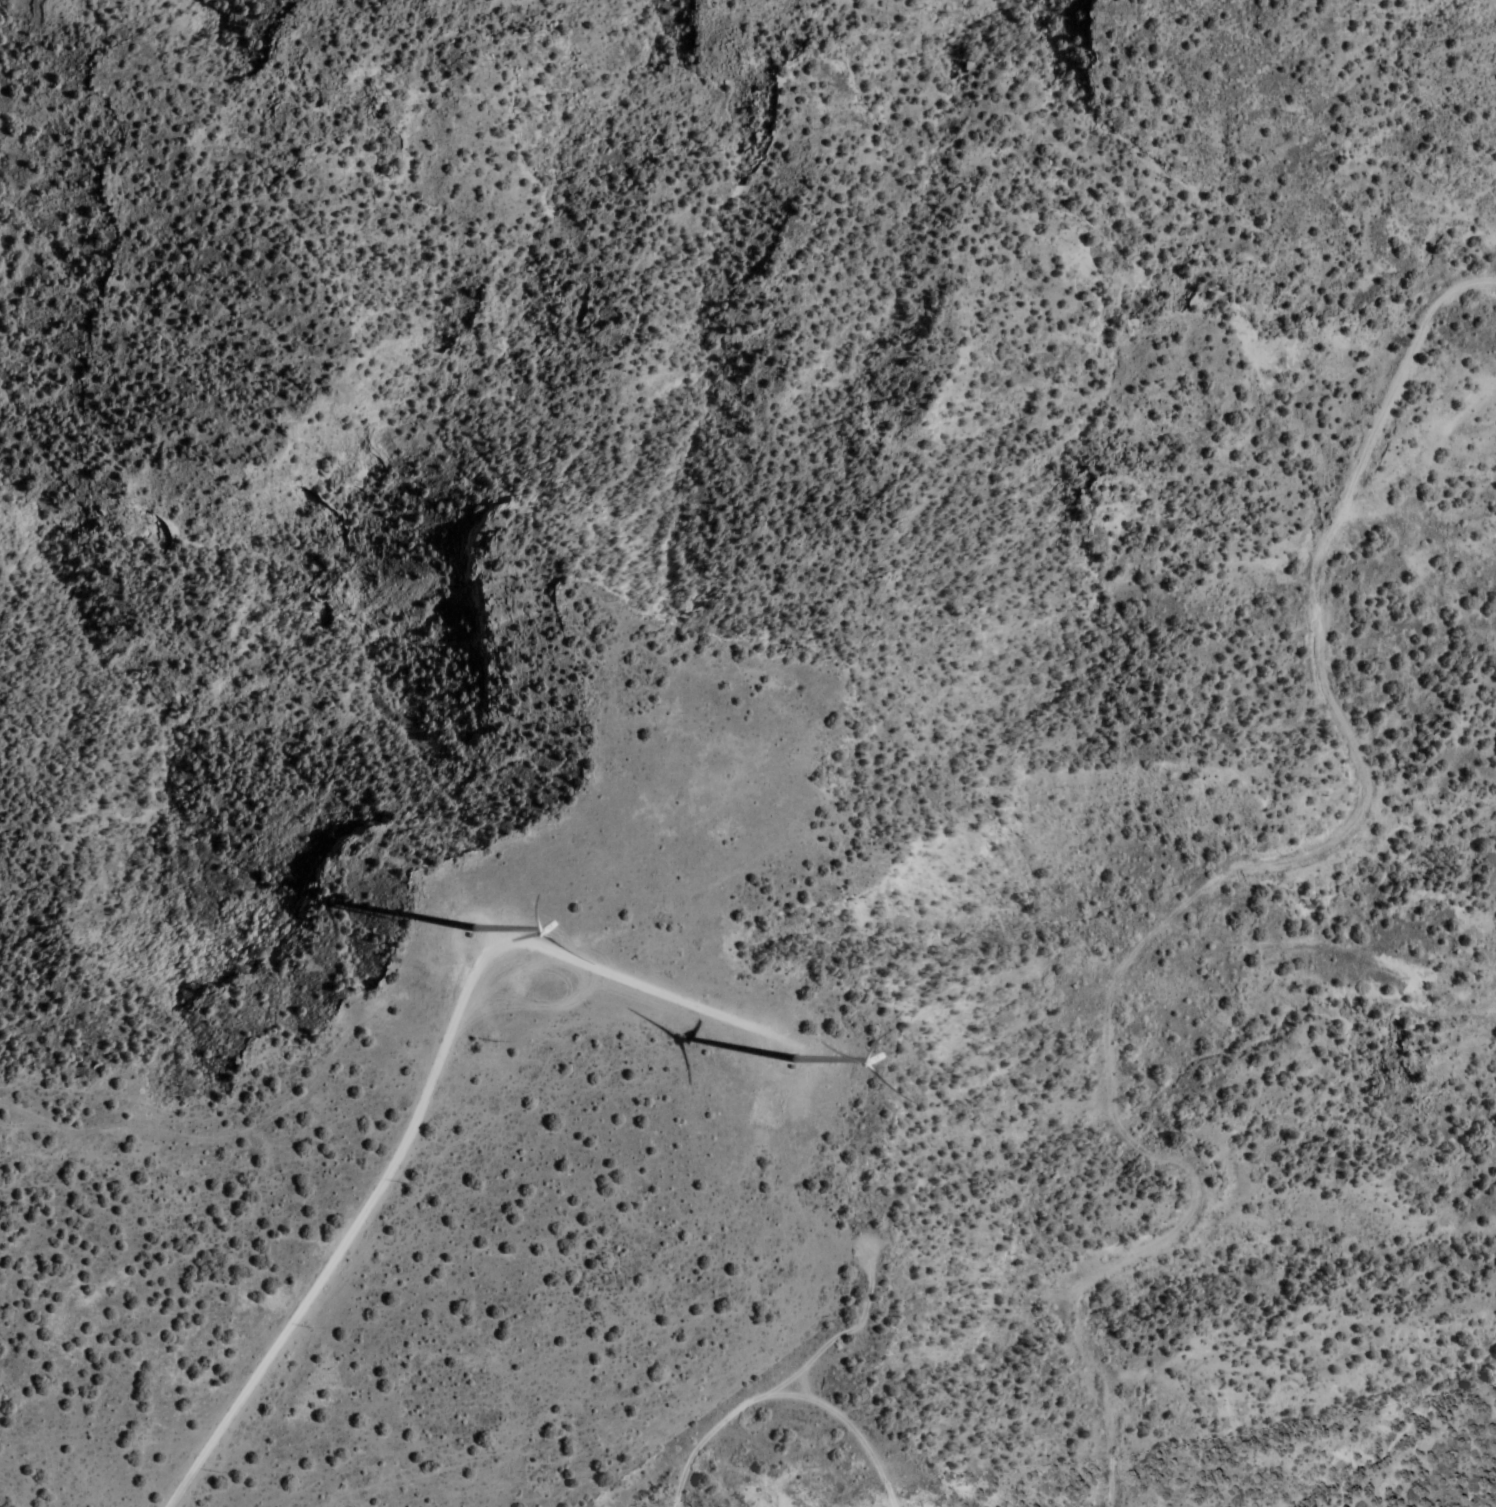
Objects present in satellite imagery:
road: (1215, 886)
wind turbine: (476, 929)
wind turbine: (797, 1062)
road: (427, 1098)

